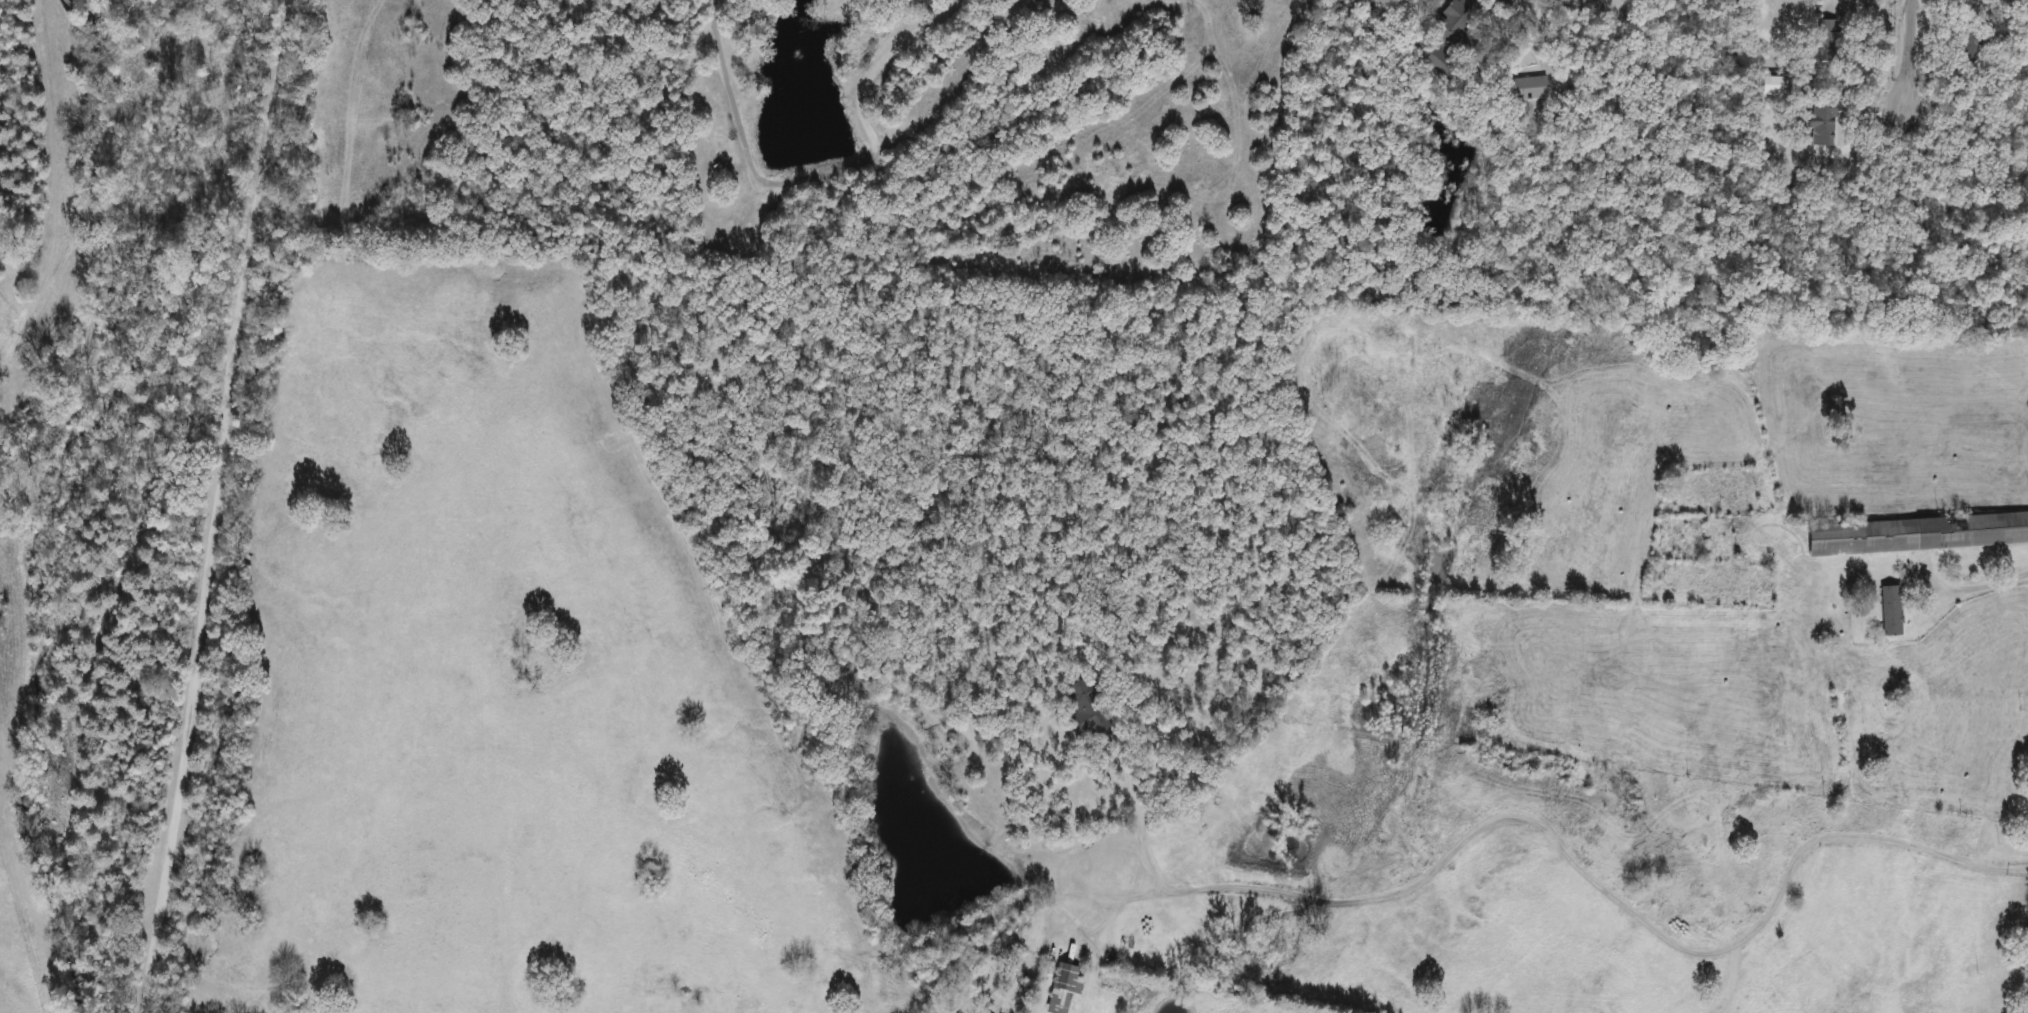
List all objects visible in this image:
building: (1449, 35)
building: (1824, 40)
building: (1966, 45)
road: (1909, 58)
building: (1774, 86)
building: (1525, 89)
building: (1822, 123)
road: (214, 506)
building: (1915, 534)
building: (1889, 611)
building: (1085, 710)
road: (1611, 897)
building: (1061, 988)

